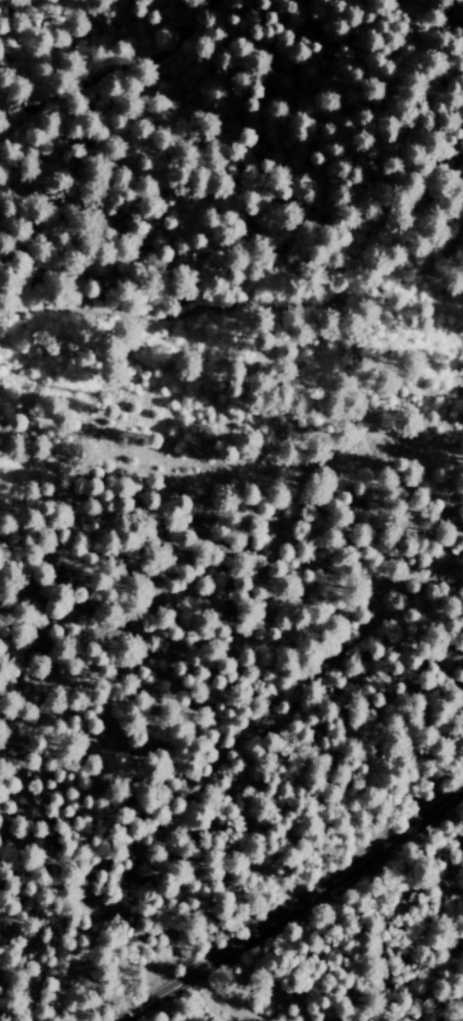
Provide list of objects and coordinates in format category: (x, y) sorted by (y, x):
road: (112, 67)
road: (253, 307)
road: (224, 749)
road: (291, 908)
road: (397, 976)

